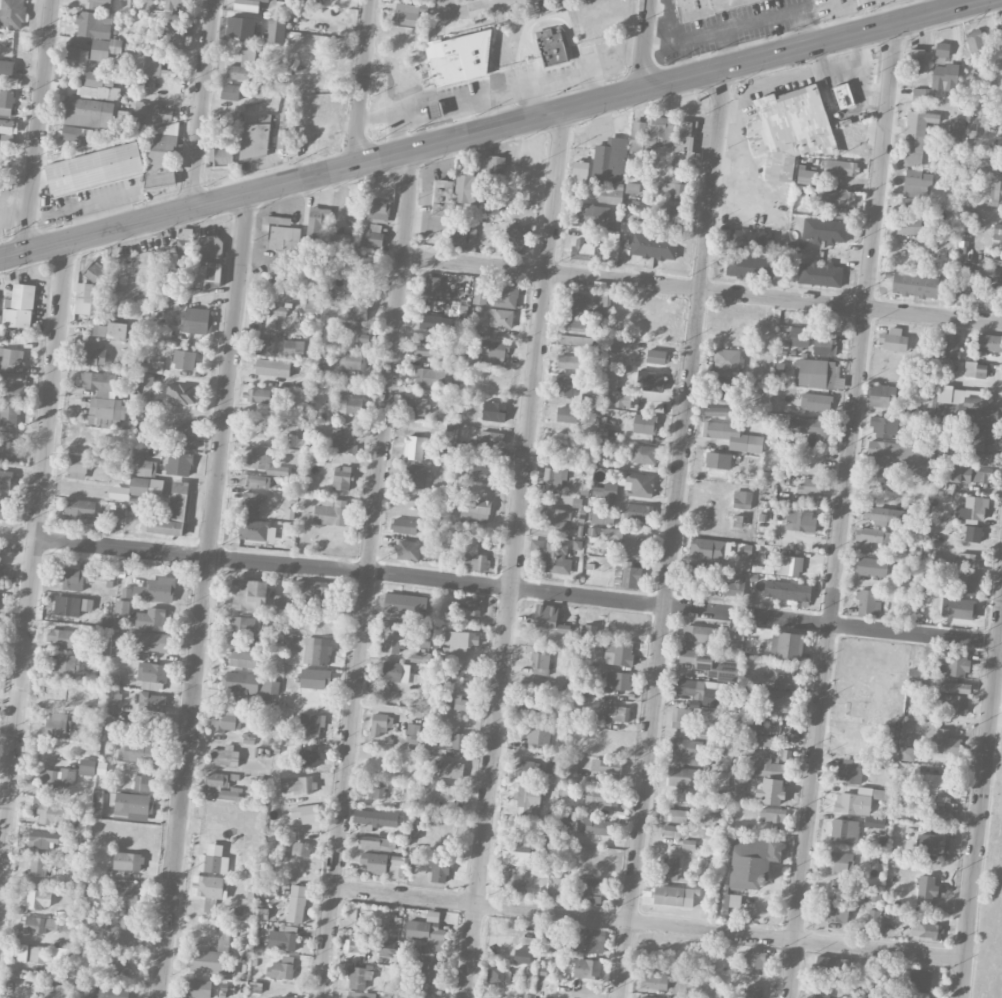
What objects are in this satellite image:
building: (266, 0)
building: (307, 0)
road: (811, 2)
building: (98, 4)
building: (176, 4)
road: (477, 6)
building: (707, 6)
building: (12, 14)
road: (839, 17)
building: (407, 18)
road: (753, 21)
building: (93, 25)
building: (240, 28)
road: (667, 29)
building: (276, 30)
building: (998, 30)
building: (174, 32)
building: (974, 40)
road: (645, 45)
building: (551, 47)
building: (103, 48)
road: (728, 48)
building: (941, 49)
building: (76, 55)
building: (145, 59)
road: (681, 60)
building: (916, 60)
building: (444, 63)
building: (243, 66)
building: (6, 67)
building: (944, 77)
building: (93, 81)
road: (364, 81)
road: (600, 82)
road: (503, 89)
building: (231, 91)
building: (918, 95)
building: (842, 96)
road: (537, 98)
building: (6, 102)
road: (200, 103)
building: (434, 110)
road: (487, 110)
building: (88, 113)
building: (152, 113)
building: (8, 126)
road: (37, 126)
road: (489, 129)
building: (789, 129)
building: (956, 129)
road: (397, 130)
building: (655, 131)
building: (70, 132)
building: (916, 136)
building: (256, 137)
building: (283, 138)
building: (684, 143)
building: (163, 147)
building: (221, 155)
building: (609, 159)
building: (840, 167)
building: (94, 169)
building: (581, 171)
building: (804, 175)
building: (917, 182)
building: (673, 187)
building: (468, 189)
building: (608, 195)
building: (998, 195)
building: (442, 196)
building: (839, 197)
building: (911, 204)
road: (86, 205)
building: (379, 209)
building: (666, 214)
building: (593, 215)
building: (273, 223)
building: (317, 224)
building: (909, 225)
building: (825, 230)
building: (373, 234)
building: (472, 236)
building: (284, 237)
building: (456, 237)
building: (514, 239)
building: (751, 240)
building: (184, 241)
building: (341, 242)
building: (654, 246)
building: (581, 249)
building: (361, 265)
building: (748, 266)
building: (94, 271)
building: (819, 273)
building: (205, 275)
building: (990, 275)
building: (185, 279)
building: (960, 280)
building: (158, 282)
building: (432, 283)
building: (914, 285)
road: (702, 290)
building: (480, 291)
building: (505, 294)
building: (89, 300)
building: (575, 303)
building: (19, 307)
building: (359, 309)
building: (273, 310)
building: (500, 318)
building: (198, 320)
building: (437, 323)
building: (0, 324)
building: (111, 330)
building: (354, 331)
building: (577, 331)
building: (793, 336)
building: (894, 340)
building: (992, 343)
building: (952, 344)
building: (824, 346)
building: (263, 347)
building: (295, 348)
building: (494, 348)
building: (433, 351)
building: (94, 355)
building: (655, 356)
building: (12, 359)
building: (184, 359)
building: (352, 360)
building: (568, 361)
building: (726, 361)
building: (149, 366)
building: (272, 367)
building: (975, 369)
building: (815, 372)
building: (429, 377)
building: (611, 377)
building: (146, 379)
building: (651, 380)
building: (100, 383)
building: (12, 386)
building: (344, 386)
building: (564, 386)
building: (723, 387)
building: (971, 393)
building: (182, 394)
building: (950, 394)
building: (259, 395)
building: (892, 397)
building: (590, 398)
building: (619, 399)
building: (816, 401)
building: (350, 405)
building: (416, 406)
building: (105, 410)
building: (978, 410)
building: (494, 411)
building: (721, 412)
building: (567, 414)
building: (9, 415)
building: (644, 423)
building: (884, 426)
building: (808, 429)
building: (187, 434)
building: (296, 434)
building: (979, 435)
building: (733, 436)
building: (491, 438)
building: (343, 439)
building: (944, 441)
building: (414, 447)
building: (8, 450)
building: (896, 453)
building: (644, 454)
building: (981, 458)
building: (317, 459)
building: (718, 460)
building: (265, 461)
building: (179, 463)
building: (77, 466)
building: (142, 467)
building: (970, 474)
building: (417, 475)
building: (482, 475)
building: (342, 478)
building: (554, 478)
building: (6, 479)
building: (876, 479)
building: (254, 480)
building: (639, 485)
building: (811, 485)
building: (146, 486)
building: (609, 490)
building: (742, 499)
building: (412, 500)
building: (251, 504)
building: (4, 507)
building: (973, 507)
building: (79, 509)
building: (475, 509)
road: (844, 510)
building: (171, 512)
building: (331, 512)
building: (638, 512)
building: (112, 513)
building: (602, 518)
building: (557, 519)
building: (801, 520)
building: (404, 526)
building: (253, 530)
road: (673, 532)
building: (972, 533)
building: (874, 535)
road: (18, 537)
building: (536, 545)
building: (627, 547)
building: (707, 548)
building: (408, 550)
road: (515, 553)
building: (0, 554)
road: (34, 556)
building: (556, 558)
building: (968, 560)
building: (476, 561)
building: (789, 565)
building: (871, 566)
road: (368, 574)
building: (698, 575)
building: (74, 576)
building: (626, 576)
building: (967, 584)
road: (517, 589)
building: (733, 589)
building: (156, 590)
building: (787, 590)
building: (313, 592)
road: (204, 595)
building: (249, 595)
building: (402, 603)
building: (470, 603)
building: (869, 603)
building: (280, 604)
building: (71, 605)
building: (122, 607)
building: (545, 616)
building: (151, 619)
building: (243, 628)
building: (701, 634)
building: (419, 635)
building: (64, 637)
building: (392, 637)
building: (152, 641)
building: (459, 644)
building: (786, 645)
building: (317, 651)
building: (618, 653)
building: (243, 655)
building: (697, 659)
building: (540, 664)
building: (957, 664)
building: (67, 667)
building: (395, 671)
building: (780, 674)
building: (915, 675)
building: (152, 676)
building: (312, 678)
building: (617, 680)
building: (248, 685)
building: (954, 687)
building: (698, 691)
building: (112, 695)
building: (775, 700)
building: (152, 702)
building: (458, 702)
building: (951, 703)
building: (536, 710)
building: (618, 712)
building: (681, 714)
building: (224, 718)
road: (996, 719)
building: (311, 723)
building: (380, 724)
building: (677, 724)
building: (58, 725)
building: (412, 733)
building: (539, 735)
building: (458, 741)
building: (942, 743)
building: (687, 751)
building: (138, 752)
building: (906, 753)
building: (224, 755)
building: (308, 758)
building: (87, 767)
building: (100, 767)
building: (768, 767)
building: (607, 768)
building: (449, 769)
building: (527, 769)
building: (849, 771)
building: (683, 777)
building: (58, 778)
building: (936, 782)
building: (145, 783)
building: (298, 784)
building: (736, 787)
building: (220, 788)
building: (377, 789)
building: (770, 791)
building: (530, 795)
building: (602, 797)
building: (97, 800)
building: (858, 800)
road: (980, 803)
building: (132, 805)
building: (715, 810)
building: (307, 813)
building: (51, 814)
building: (771, 814)
building: (939, 814)
building: (673, 815)
building: (375, 819)
building: (875, 822)
building: (602, 827)
building: (672, 830)
building: (845, 830)
building: (44, 839)
building: (375, 843)
building: (932, 843)
building: (541, 846)
building: (517, 847)
building: (300, 848)
building: (214, 860)
building: (128, 861)
building: (752, 861)
building: (374, 862)
building: (840, 862)
building: (670, 864)
building: (37, 867)
building: (397, 867)
building: (439, 872)
building: (670, 877)
building: (513, 878)
building: (590, 885)
building: (209, 889)
building: (926, 890)
building: (128, 894)
building: (674, 896)
building: (39, 898)
building: (726, 899)
building: (296, 903)
building: (835, 909)
building: (872, 916)
road: (594, 917)
building: (36, 924)
building: (929, 930)
building: (119, 933)
building: (286, 937)
building: (431, 937)
building: (553, 941)
building: (588, 941)
building: (355, 947)
building: (31, 953)
building: (61, 953)
building: (212, 956)
building: (754, 962)
building: (116, 965)
building: (428, 967)
building: (833, 967)
building: (281, 968)
building: (586, 968)
building: (359, 976)
building: (498, 976)
building: (653, 980)
building: (920, 980)
building: (199, 988)
building: (754, 991)
building: (112, 992)
building: (861, 992)
building: (428, 993)
building: (562, 994)
building: (361, 995)
building: (822, 995)
building: (881, 995)
building: (285, 997)
building: (521, 997)

